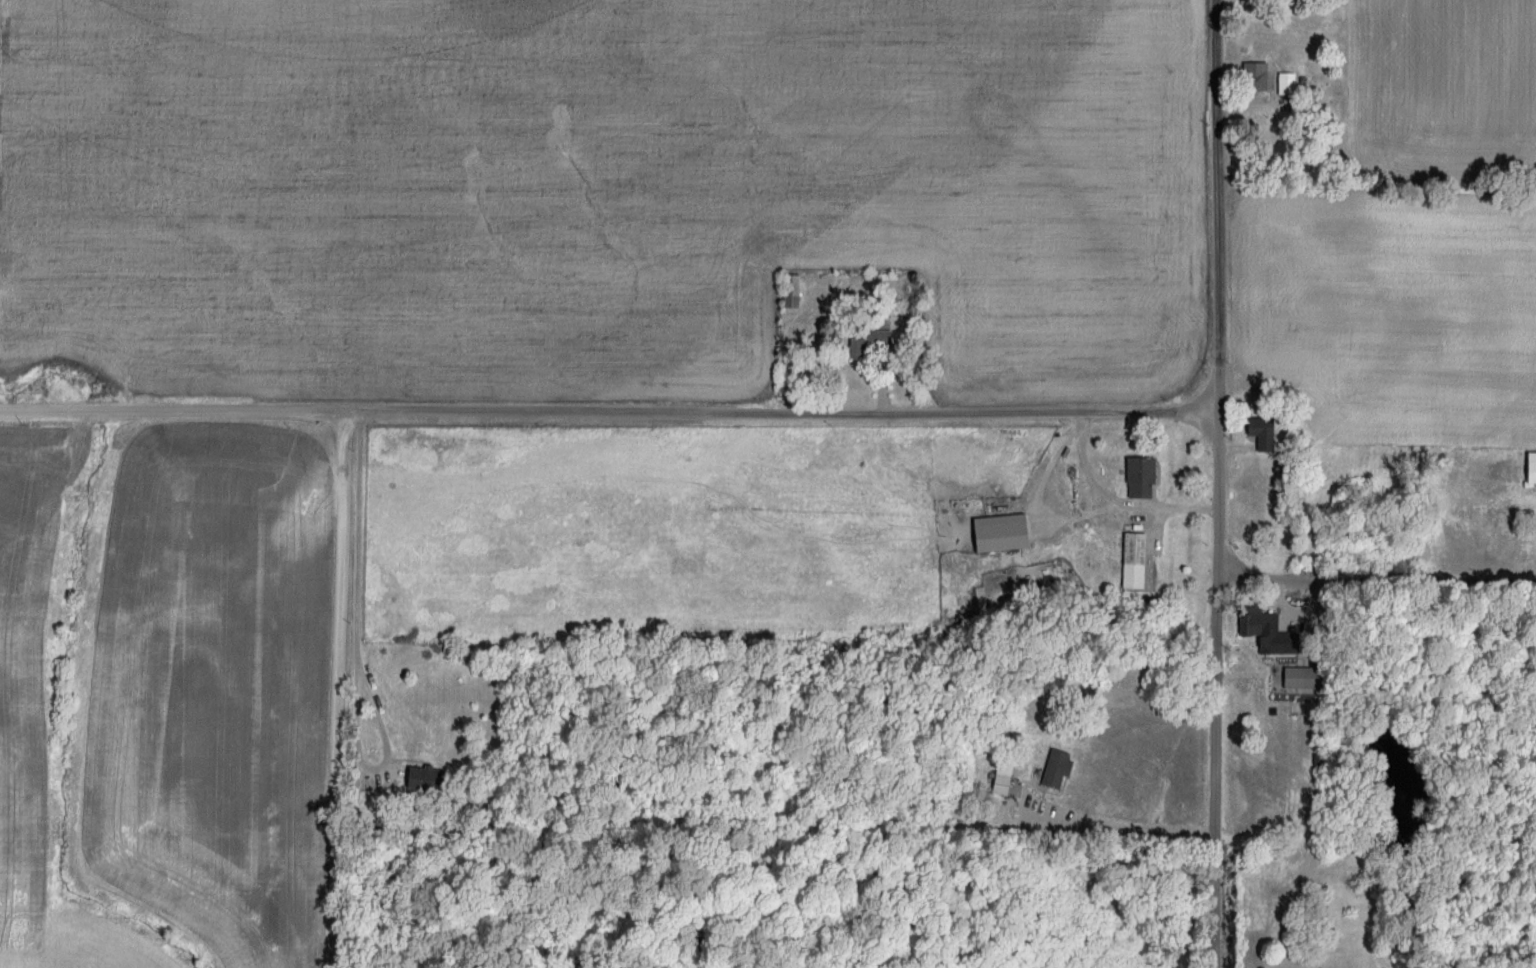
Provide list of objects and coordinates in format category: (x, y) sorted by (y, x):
building: (1259, 80)
building: (1291, 85)
building: (797, 292)
building: (875, 343)
road: (609, 409)
building: (1267, 434)
building: (1534, 468)
building: (1145, 478)
road: (1219, 484)
road: (1116, 501)
building: (1007, 533)
building: (1139, 561)
road: (1377, 581)
road: (402, 582)
building: (1262, 623)
building: (1307, 679)
road: (338, 687)
building: (1062, 768)
building: (429, 779)
building: (1006, 785)
road: (1118, 828)

